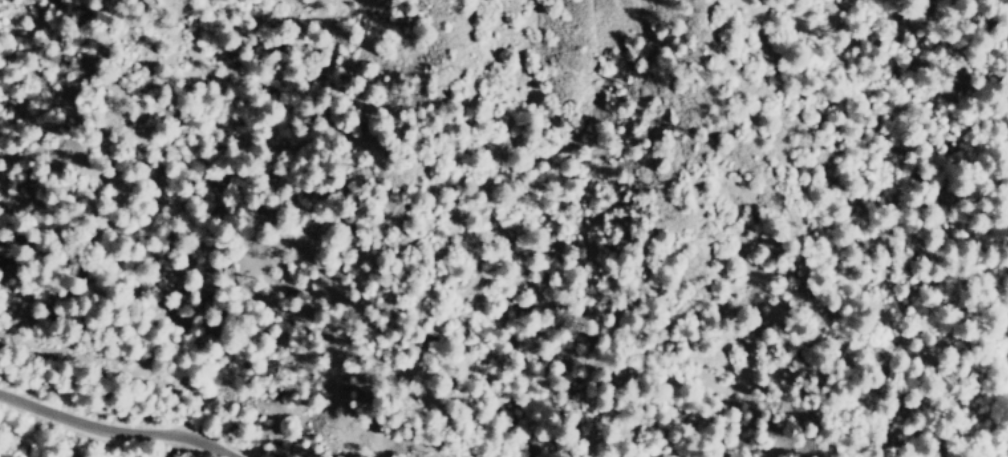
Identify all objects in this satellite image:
road: (115, 433)

